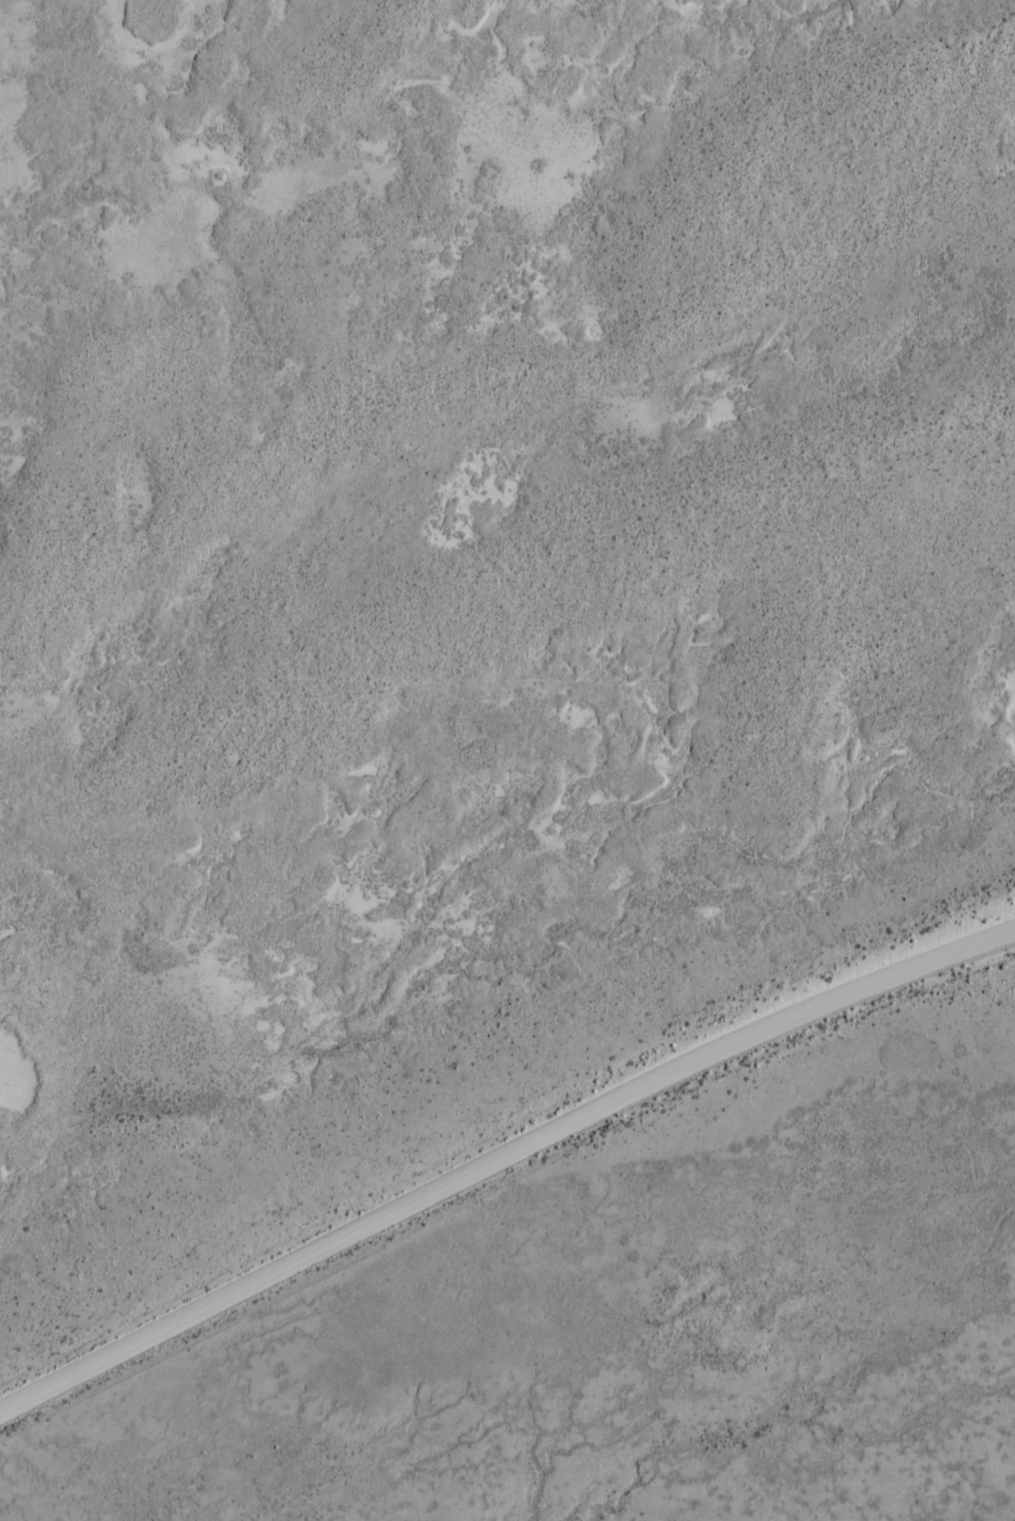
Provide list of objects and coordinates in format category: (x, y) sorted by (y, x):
road: (501, 1156)

